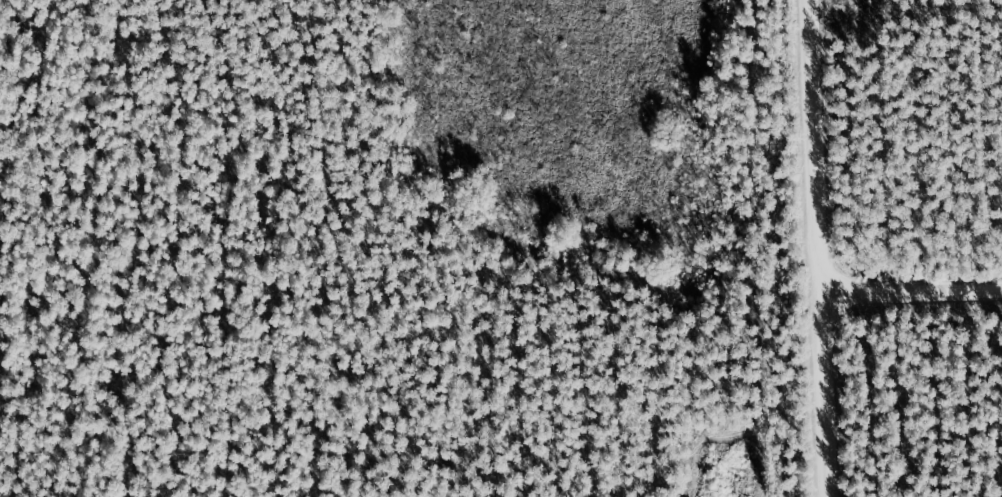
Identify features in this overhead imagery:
road: (820, 248)
road: (911, 290)

